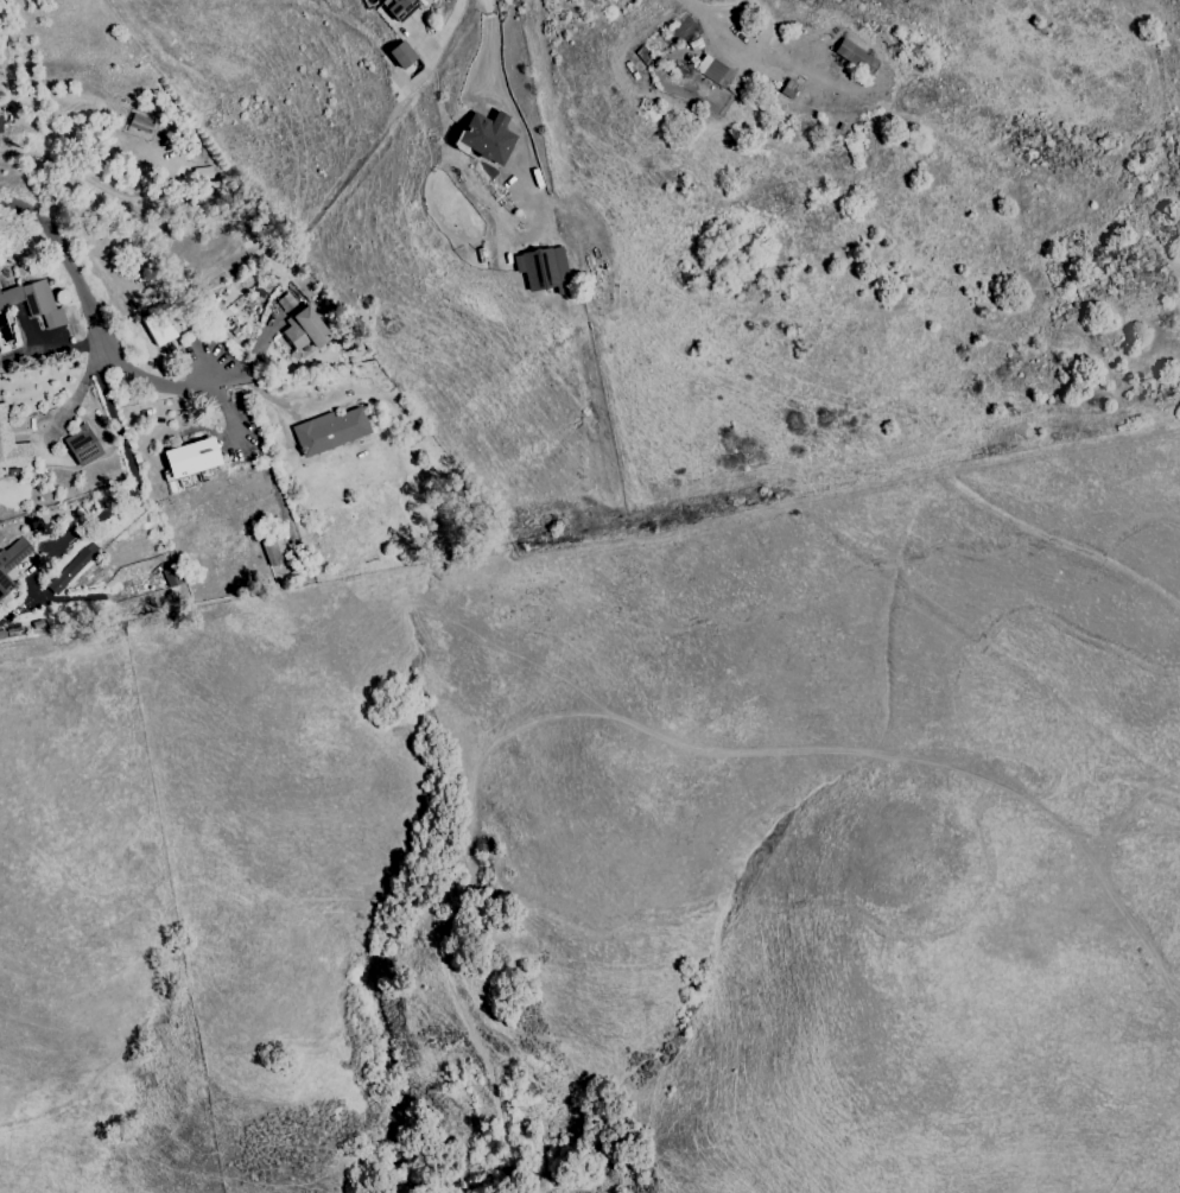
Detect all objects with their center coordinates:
road: (694, 6)
road: (712, 6)
building: (400, 8)
building: (400, 55)
road: (782, 56)
building: (855, 56)
building: (712, 71)
road: (507, 109)
building: (0, 126)
building: (484, 137)
building: (541, 268)
building: (285, 302)
building: (33, 303)
road: (97, 323)
building: (158, 328)
building: (303, 329)
building: (329, 431)
building: (12, 445)
building: (81, 446)
building: (190, 458)
road: (129, 491)
building: (273, 552)
building: (12, 559)
building: (71, 567)

